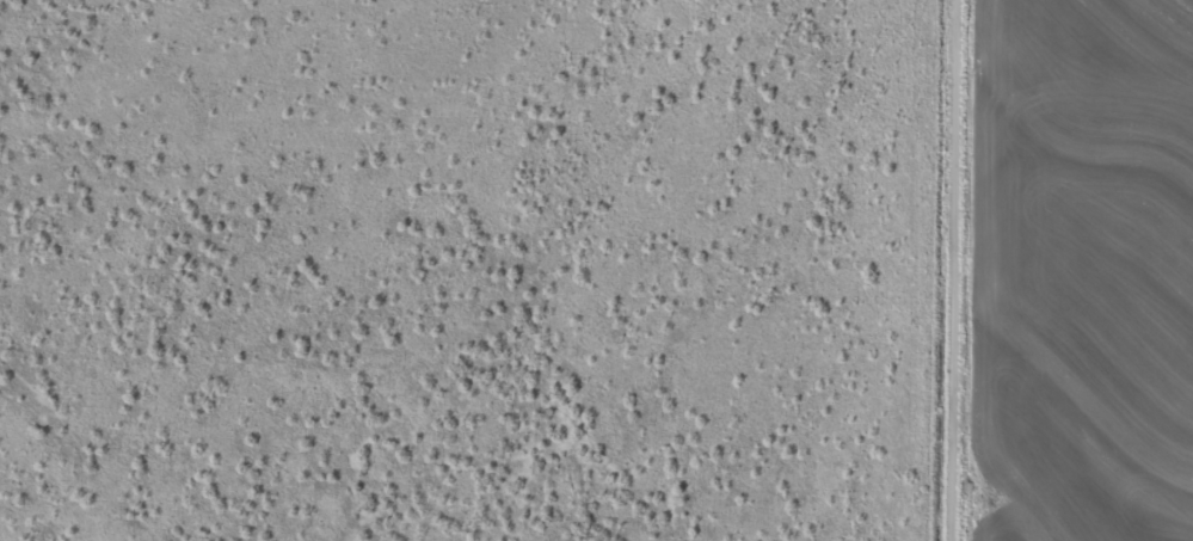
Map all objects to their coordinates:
road: (957, 270)

